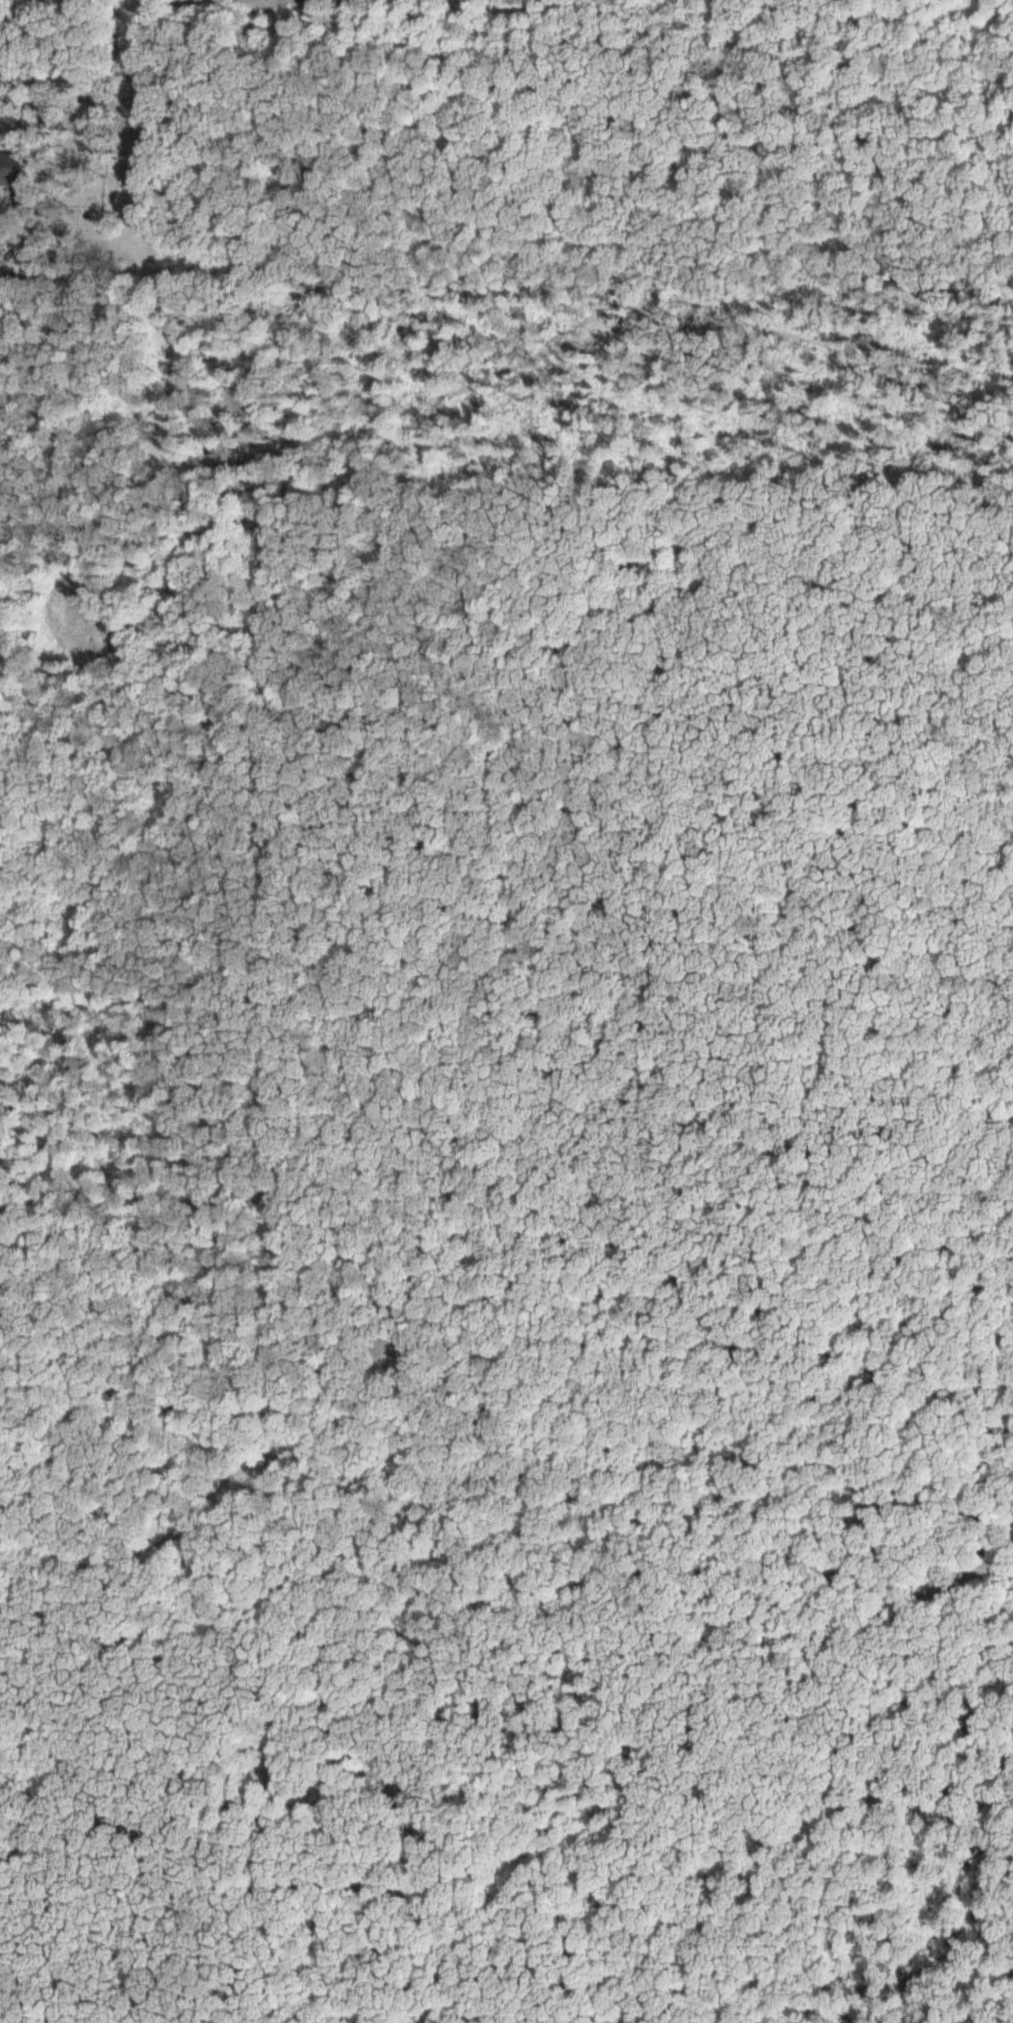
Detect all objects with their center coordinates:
road: (42, 20)
road: (154, 159)
building: (0, 258)
road: (287, 1283)

